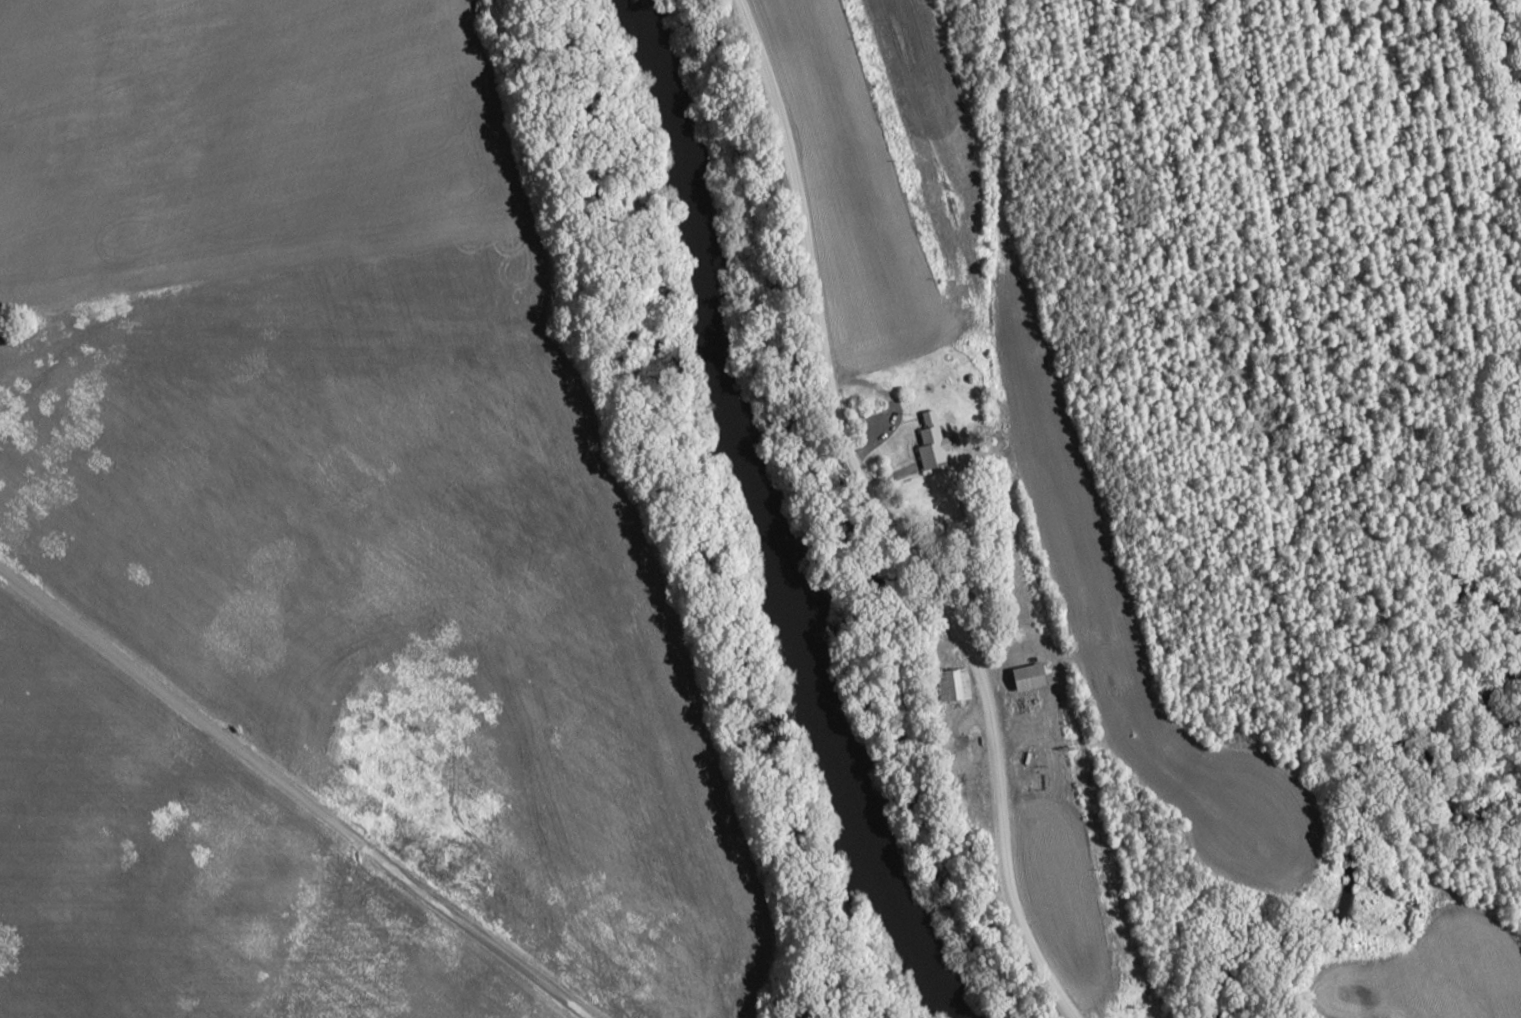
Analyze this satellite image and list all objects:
building: (930, 443)
road: (891, 518)
river: (762, 521)
building: (1024, 677)
building: (951, 685)
road: (297, 792)

